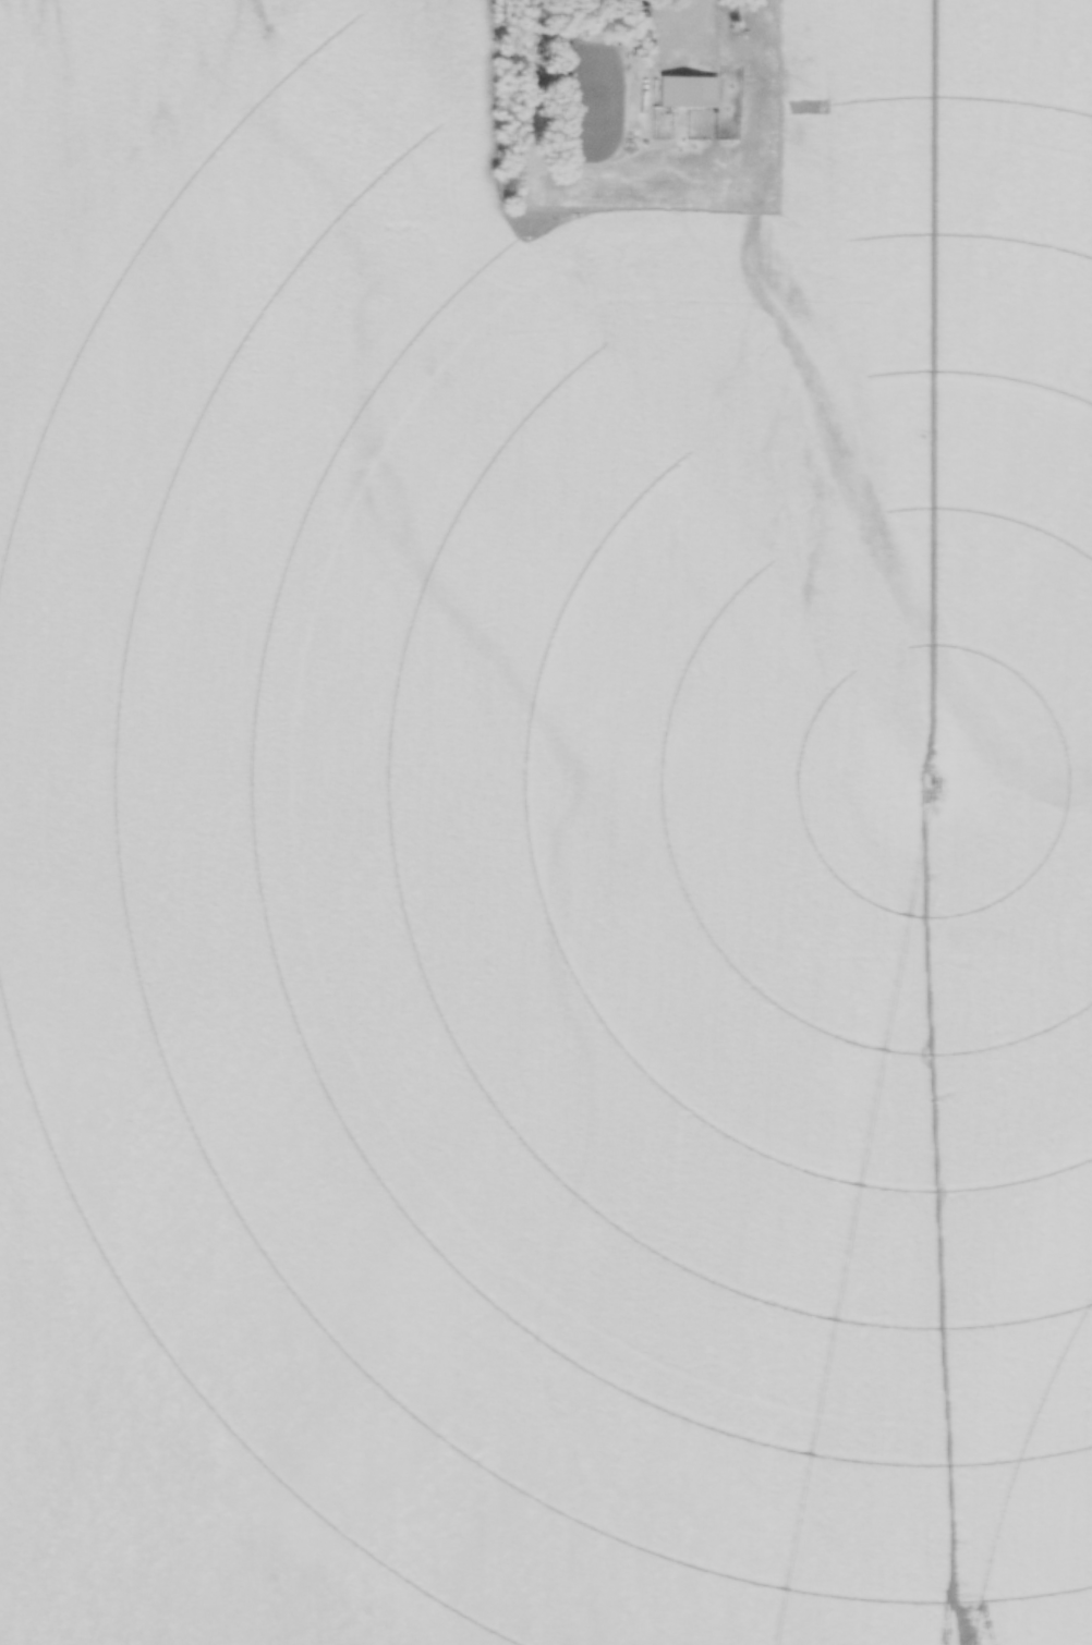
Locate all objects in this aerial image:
road: (703, 9)

